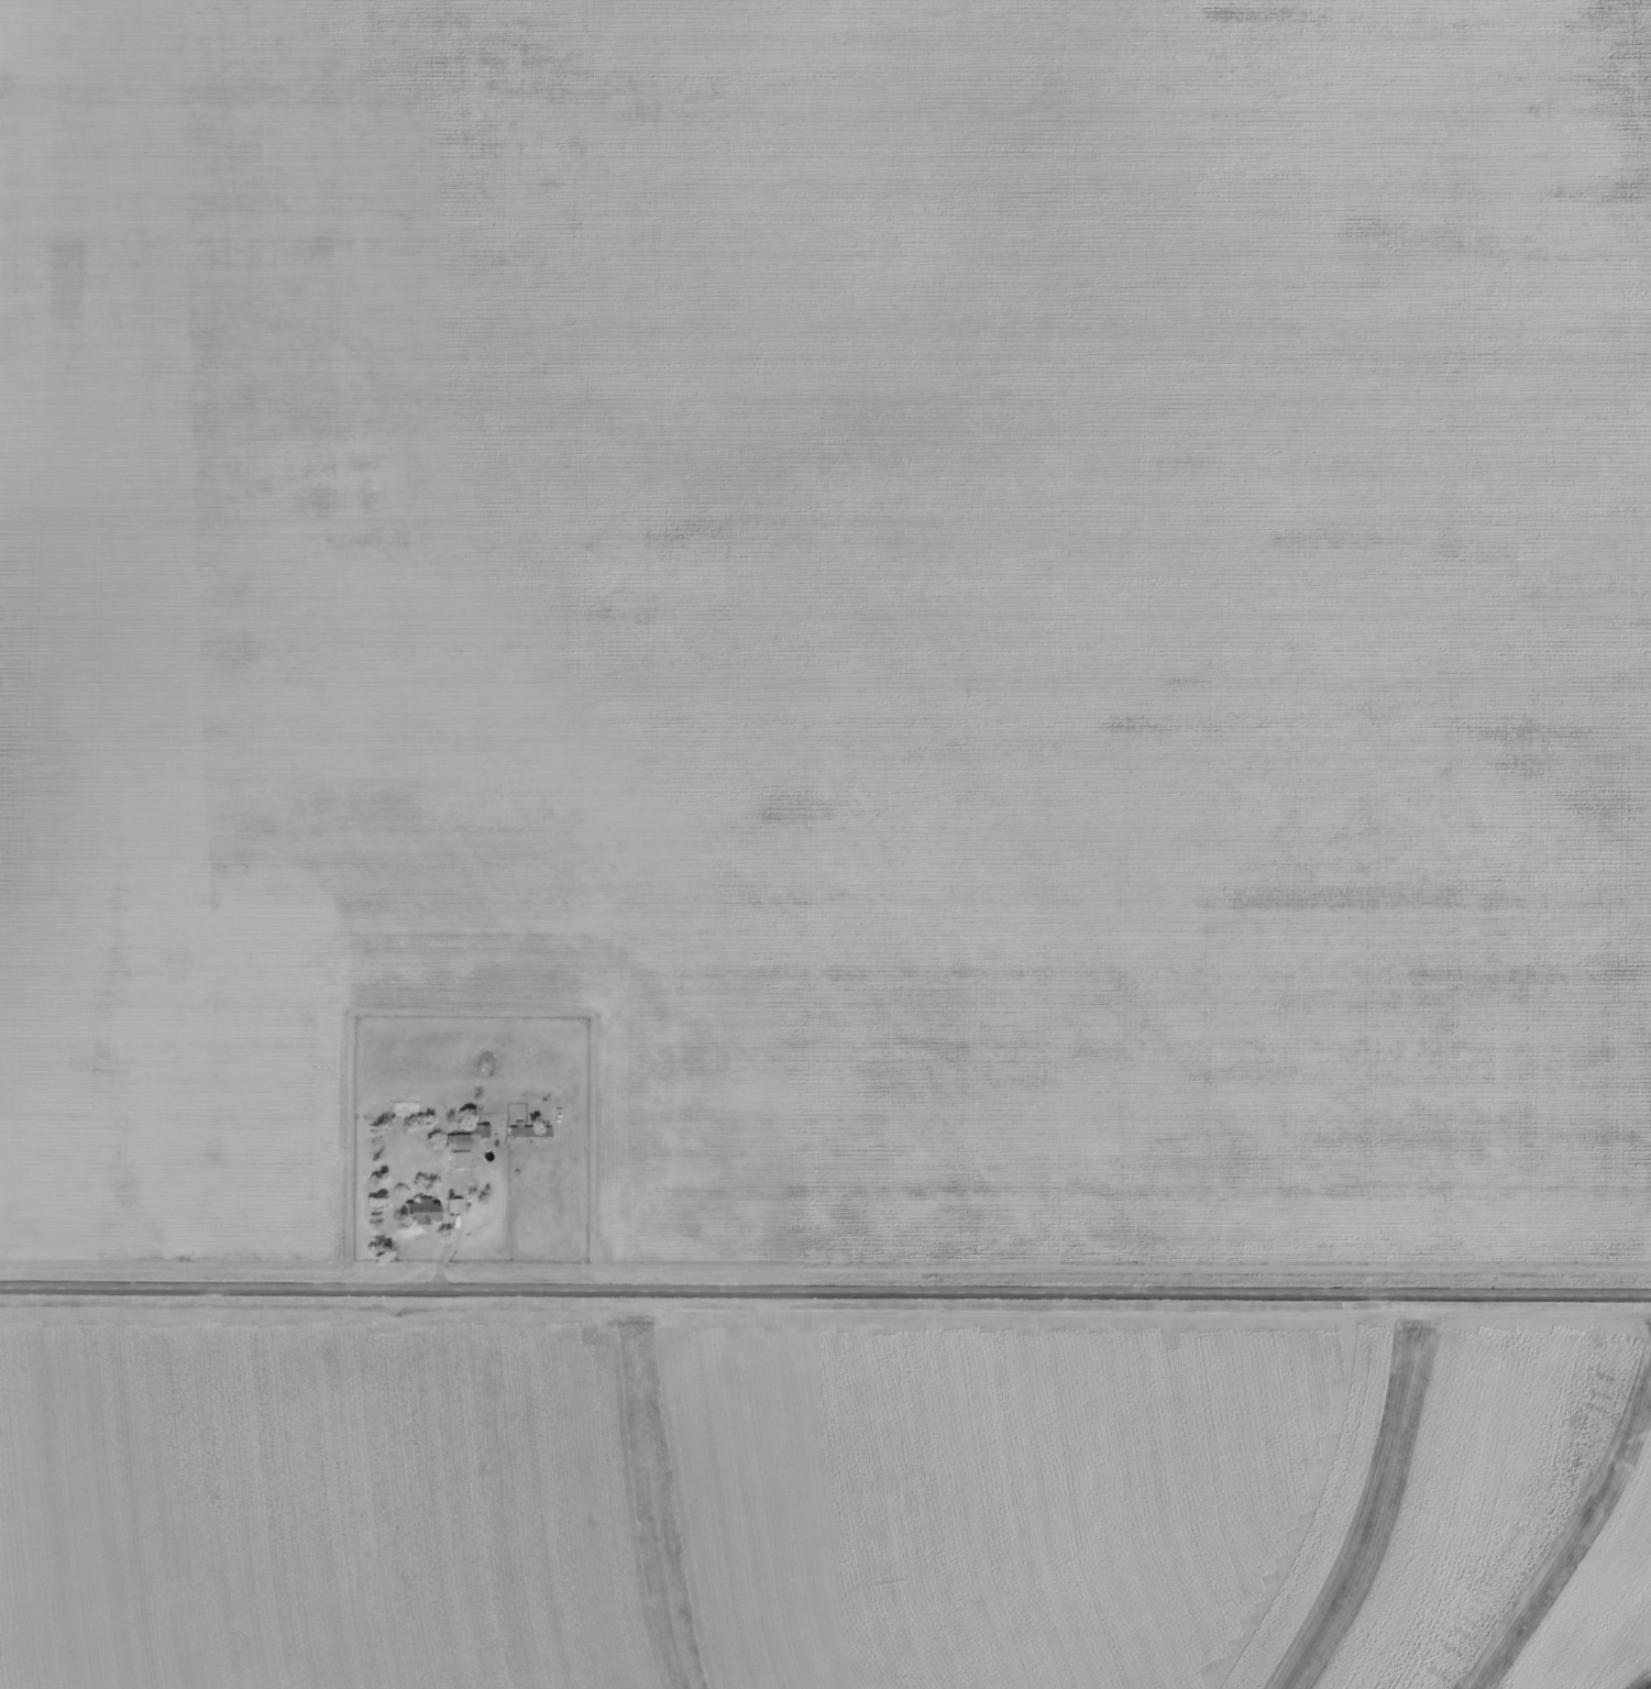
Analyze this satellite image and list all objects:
road: (464, 1230)
road: (825, 1296)

